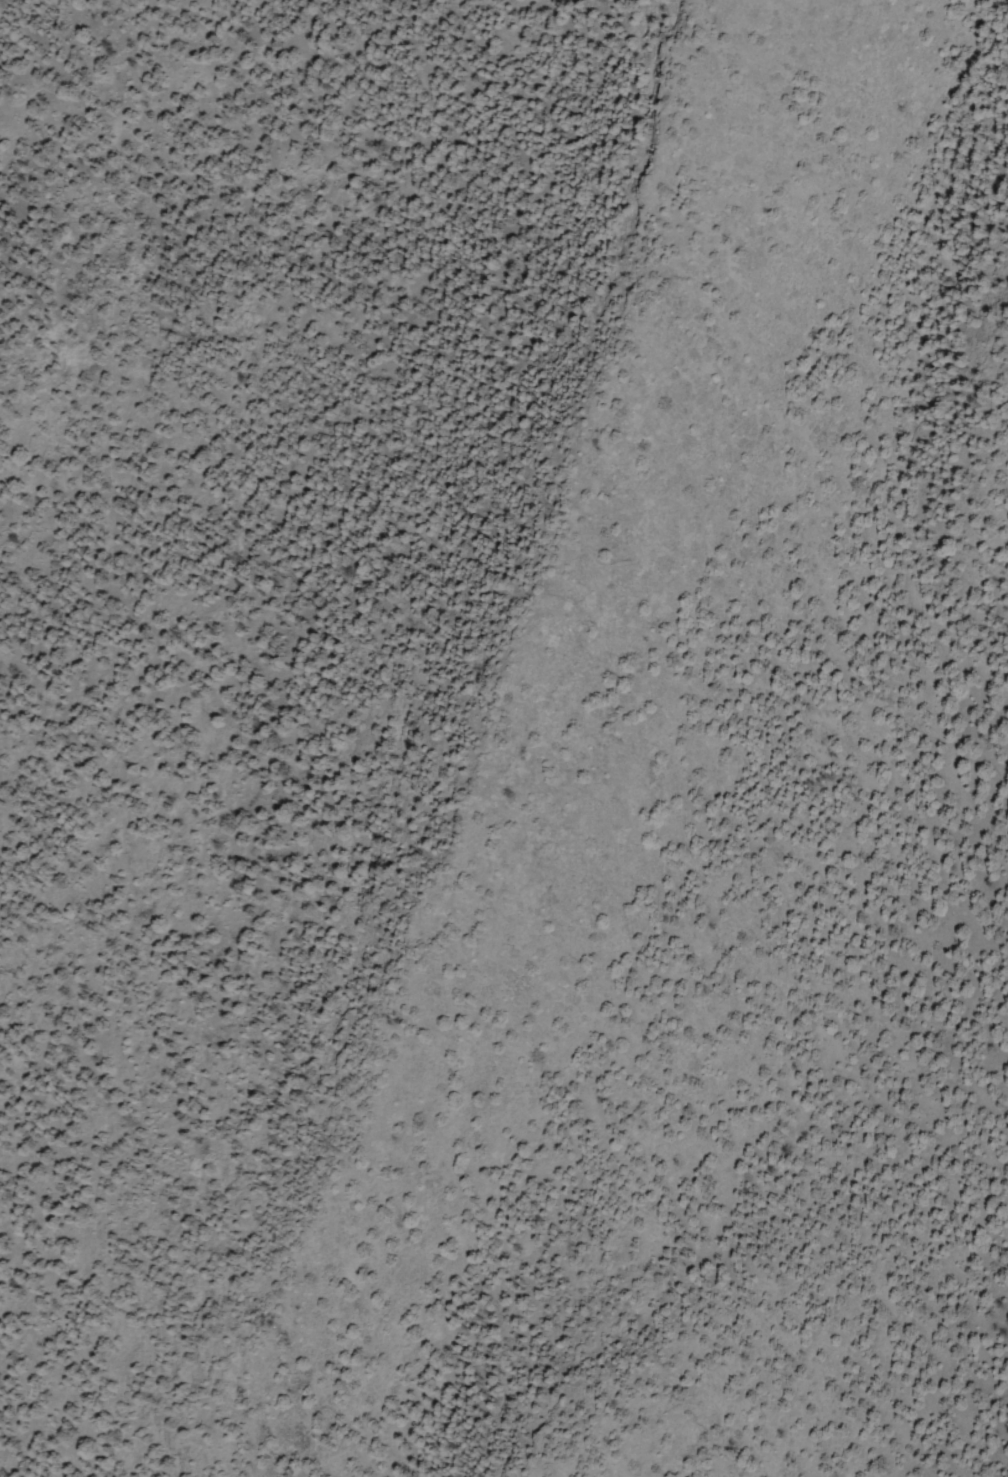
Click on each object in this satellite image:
road: (27, 438)

